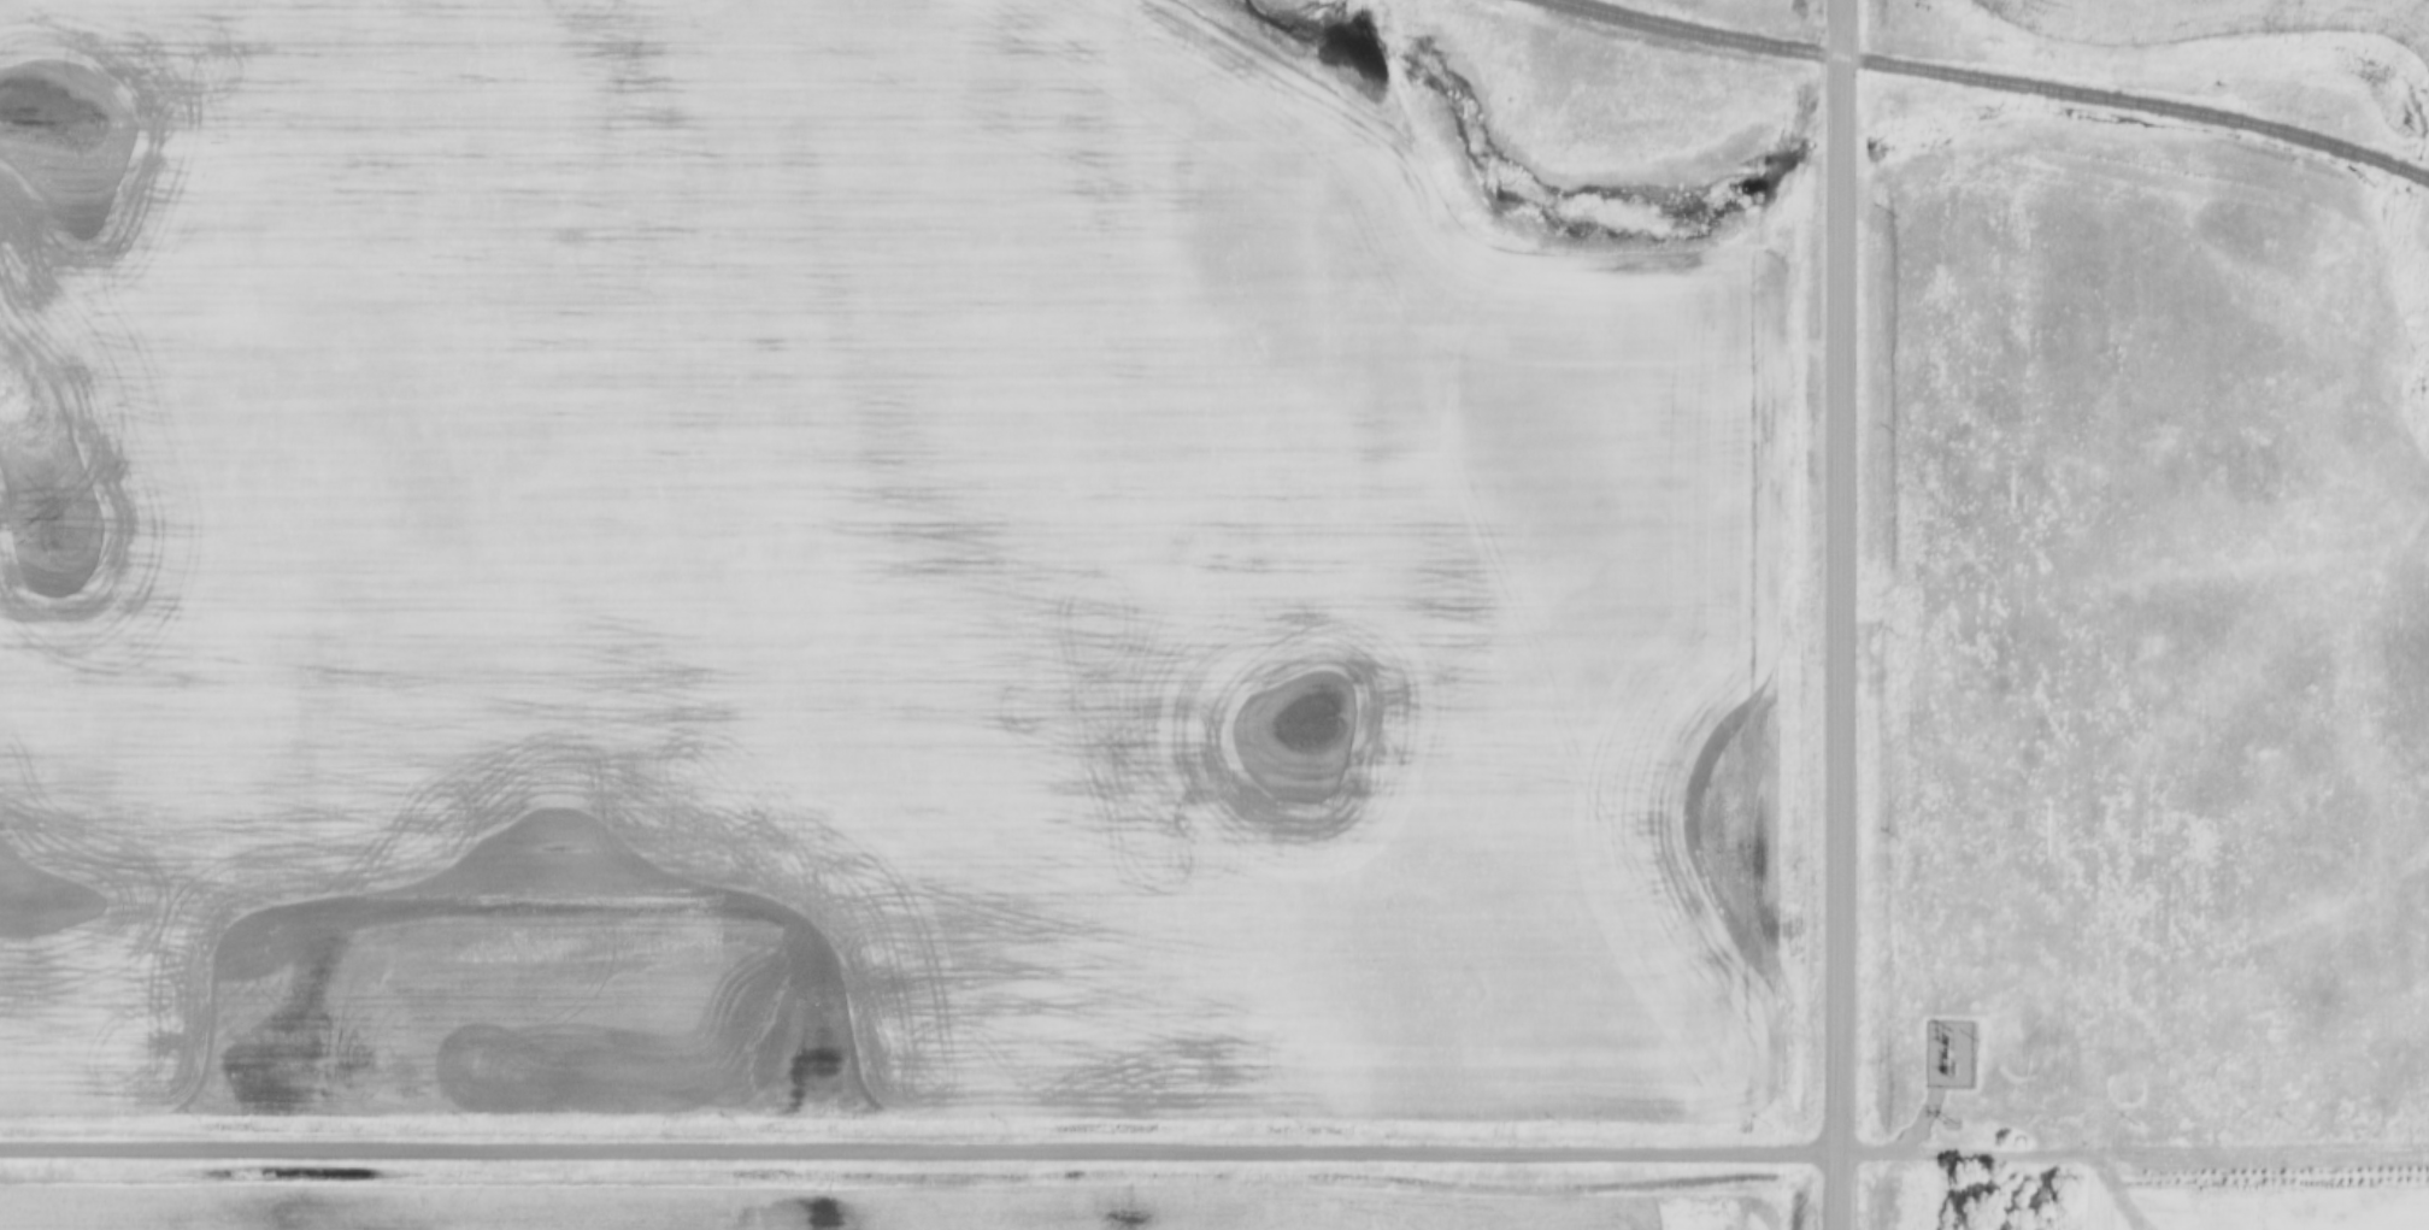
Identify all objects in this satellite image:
railway: (1989, 81)
road: (1839, 614)
power substation: (1954, 1053)
road: (1917, 1123)
road: (916, 1154)
road: (2164, 1154)
road: (1866, 1155)

